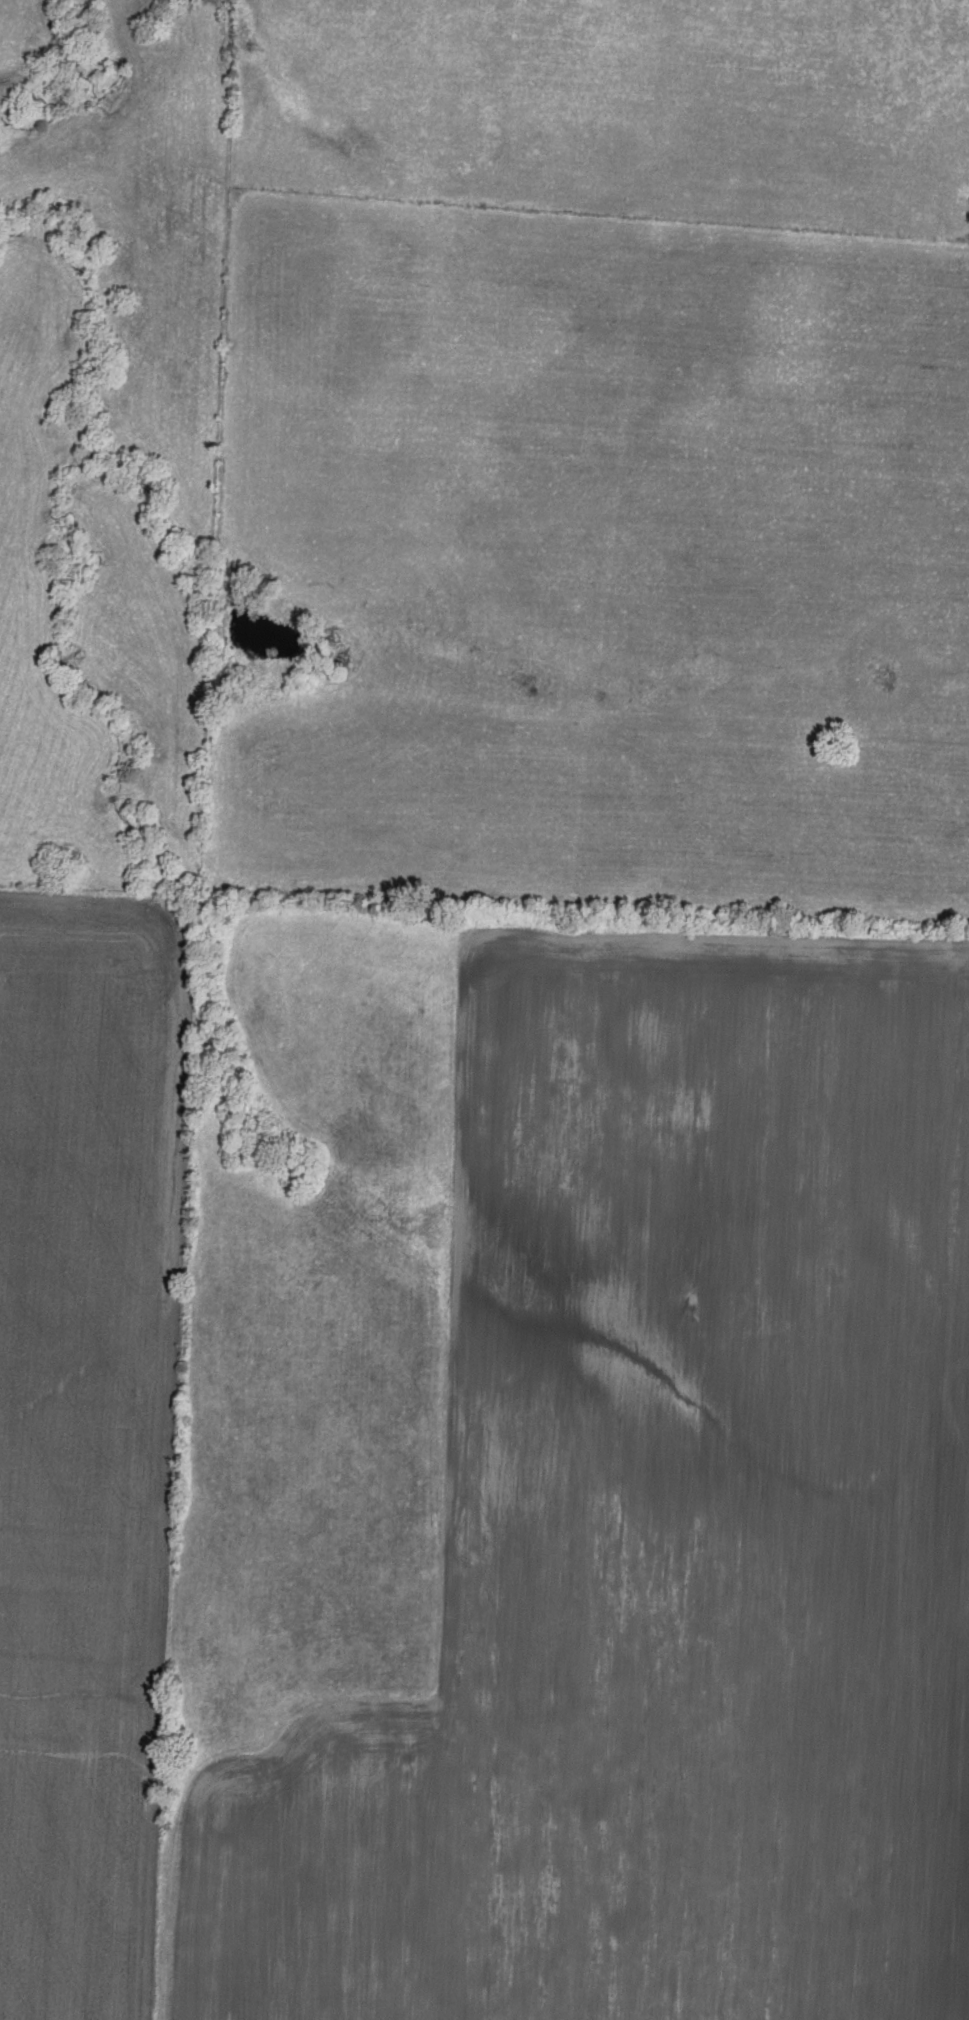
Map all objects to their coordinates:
road: (170, 1889)

